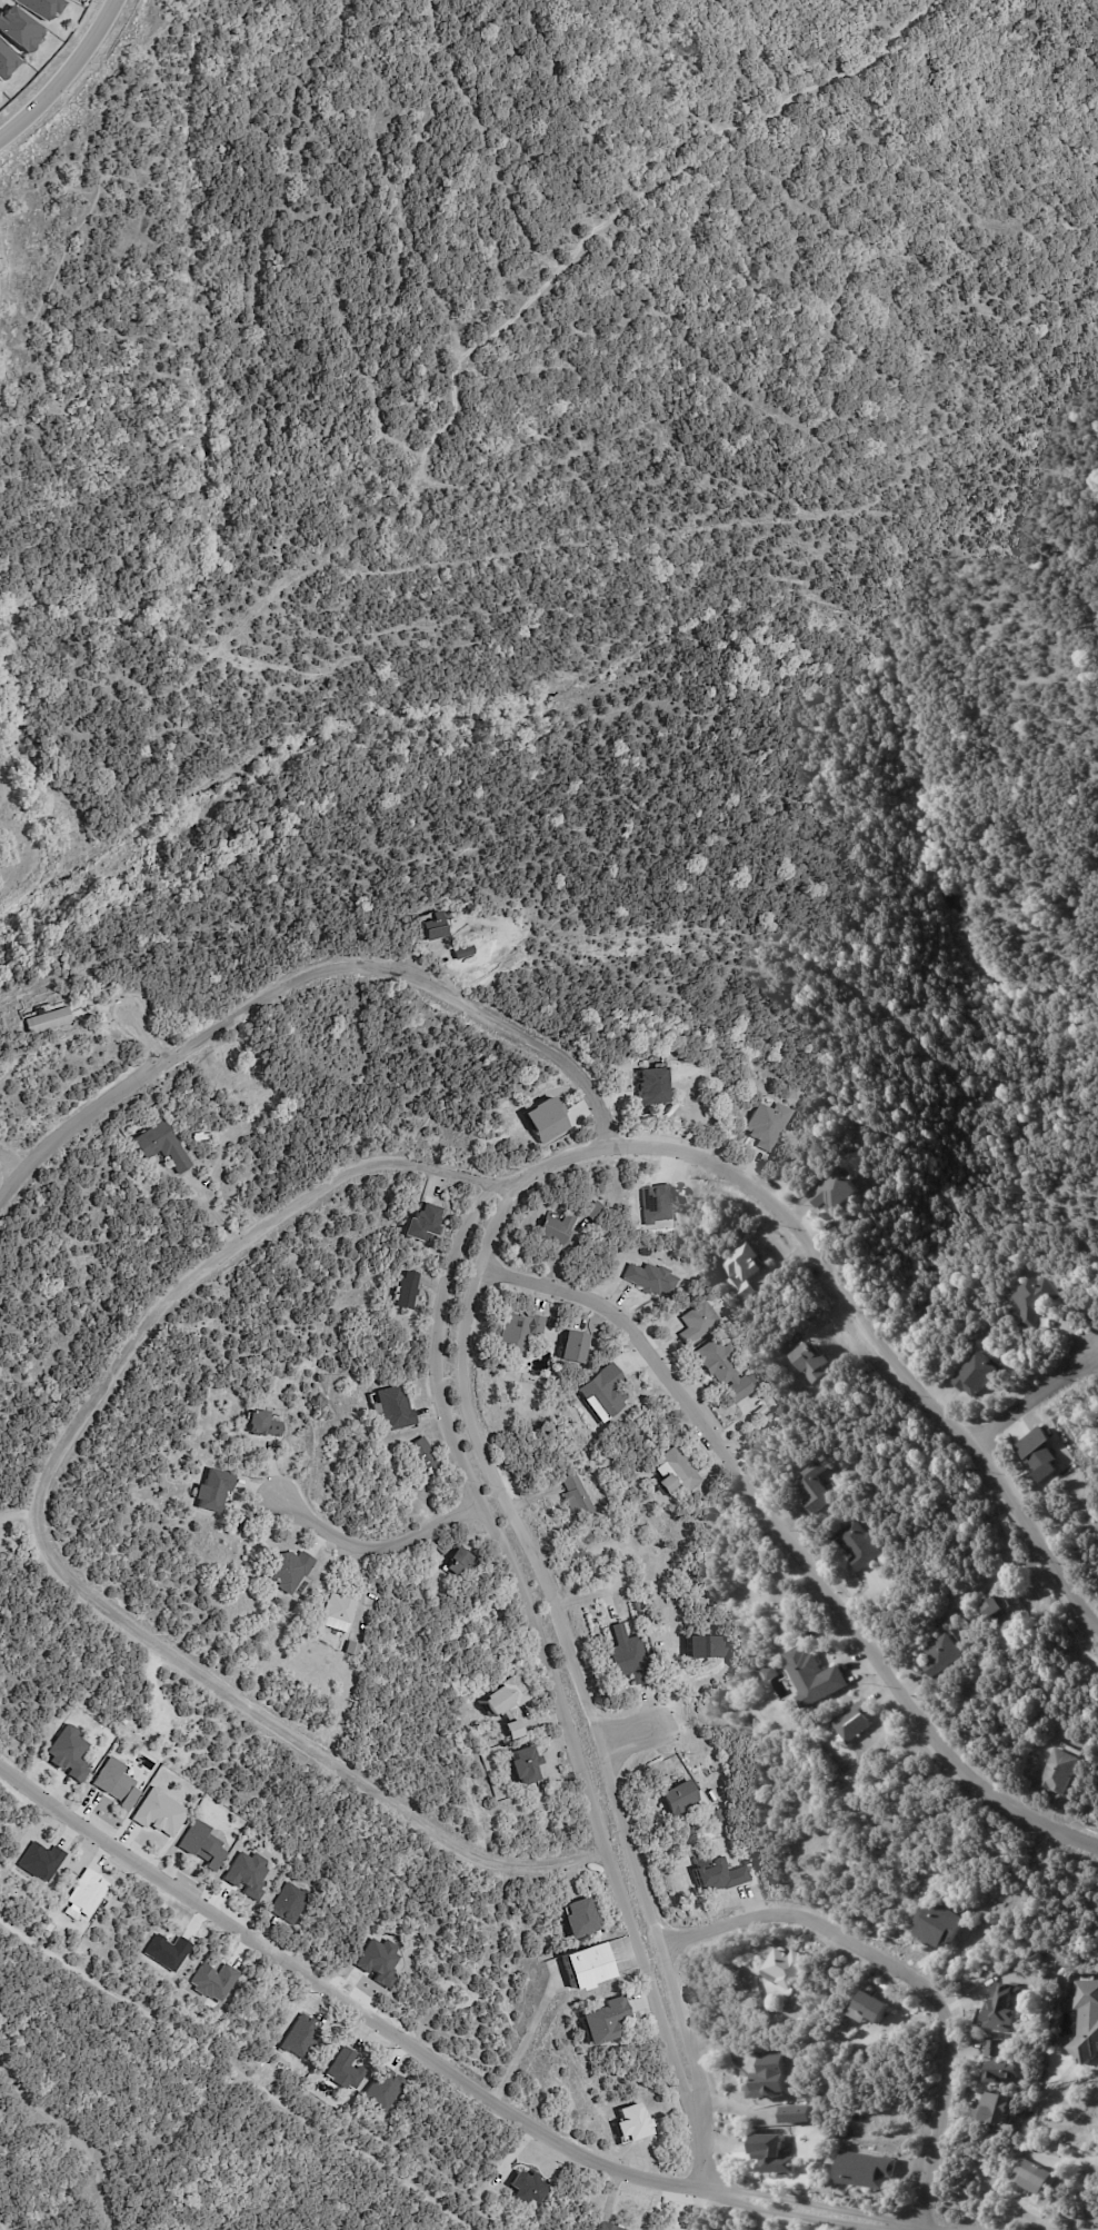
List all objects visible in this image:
building: (18, 29)
building: (6, 61)
road: (61, 74)
building: (436, 928)
building: (465, 955)
road: (308, 980)
building: (48, 1021)
road: (156, 1035)
building: (655, 1086)
building: (767, 1125)
building: (162, 1146)
road: (14, 1159)
building: (839, 1192)
building: (653, 1203)
building: (595, 1213)
building: (426, 1224)
building: (556, 1228)
building: (834, 1228)
building: (645, 1252)
building: (750, 1271)
building: (651, 1280)
building: (409, 1292)
road: (850, 1292)
building: (1038, 1301)
building: (697, 1323)
building: (519, 1334)
building: (576, 1348)
building: (789, 1354)
building: (817, 1363)
building: (722, 1370)
building: (979, 1374)
building: (601, 1392)
road: (1038, 1398)
building: (395, 1410)
building: (261, 1424)
building: (1038, 1453)
building: (423, 1457)
building: (677, 1473)
building: (817, 1489)
building: (212, 1490)
building: (577, 1499)
building: (246, 1526)
road: (48, 1545)
road: (378, 1545)
building: (862, 1545)
road: (797, 1546)
building: (442, 1550)
building: (462, 1564)
building: (289, 1571)
building: (636, 1607)
building: (995, 1607)
building: (338, 1614)
building: (355, 1650)
building: (711, 1650)
building: (944, 1656)
building: (628, 1659)
building: (818, 1679)
building: (509, 1698)
building: (856, 1722)
road: (630, 1728)
building: (515, 1733)
building: (67, 1752)
building: (526, 1766)
building: (1061, 1773)
building: (114, 1783)
building: (680, 1801)
building: (707, 1802)
building: (719, 1818)
building: (201, 1845)
building: (39, 1861)
building: (718, 1875)
building: (84, 1892)
building: (582, 1918)
building: (942, 1923)
building: (166, 1951)
building: (792, 1967)
building: (588, 1968)
road: (915, 1978)
building: (212, 1981)
road: (342, 1990)
building: (875, 2008)
building: (1007, 2008)
building: (606, 2021)
building: (1088, 2021)
road: (521, 2045)
building: (1004, 2064)
building: (345, 2070)
building: (773, 2077)
road: (691, 2102)
building: (997, 2108)
building: (798, 2114)
building: (633, 2123)
road: (701, 2150)
building: (775, 2154)
building: (868, 2170)
building: (1037, 2178)
building: (529, 2188)
road: (717, 2189)
building: (609, 2227)

